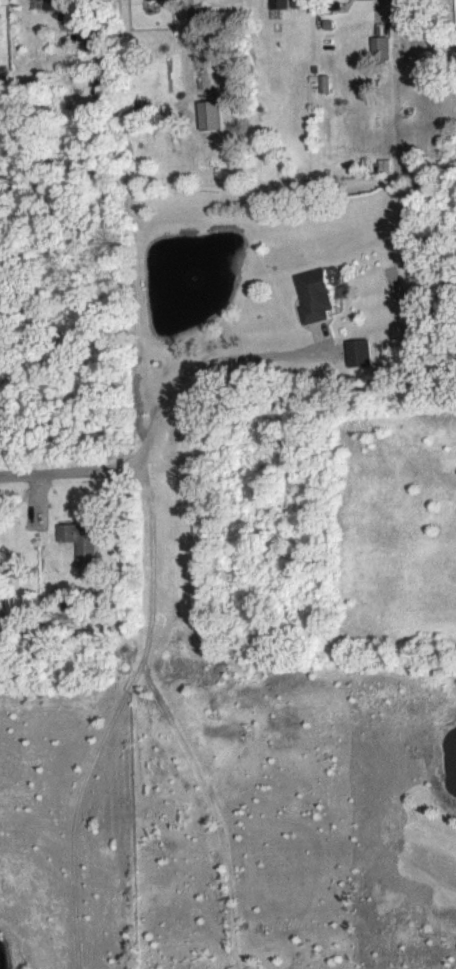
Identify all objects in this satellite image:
building: (206, 0)
building: (440, 2)
building: (154, 5)
building: (364, 5)
building: (47, 9)
building: (278, 10)
building: (299, 10)
building: (379, 59)
building: (209, 127)
building: (314, 307)
road: (199, 363)
building: (359, 365)
road: (63, 470)
building: (81, 553)

